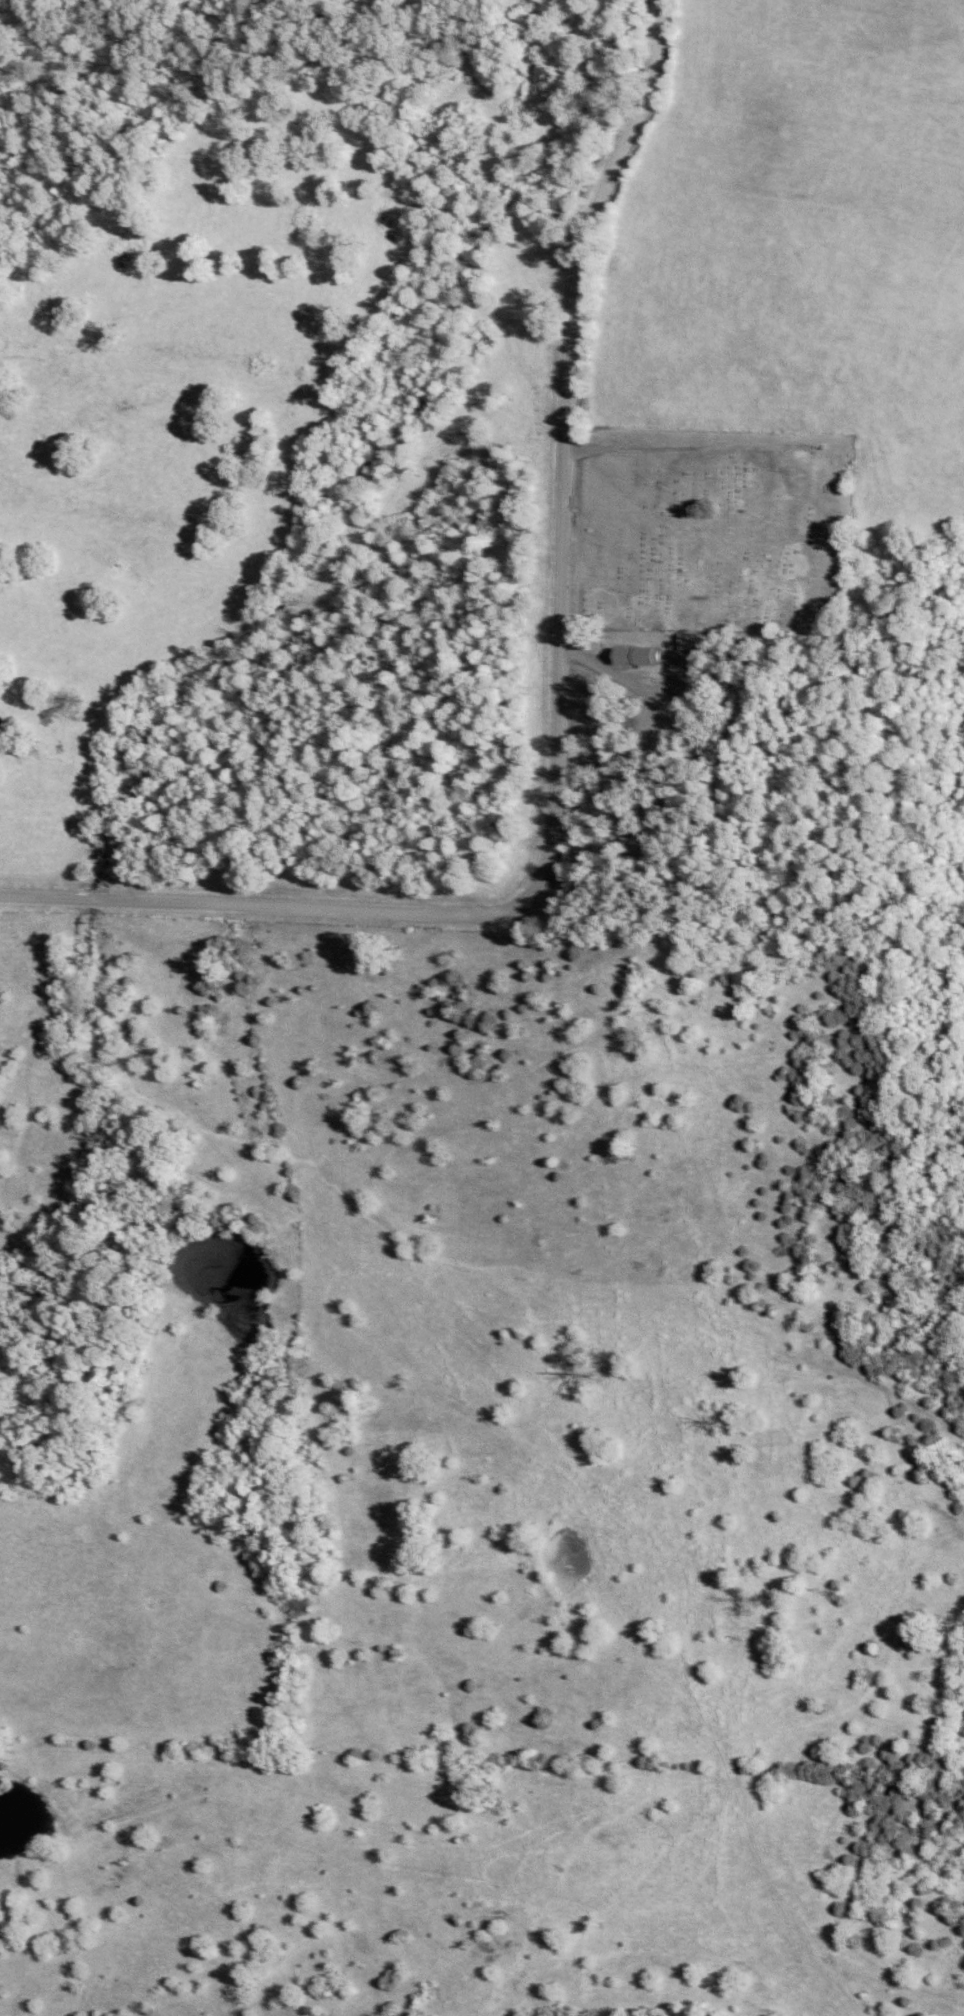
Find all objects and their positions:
park: (538, 3)
building: (635, 660)
road: (553, 708)
road: (663, 792)

